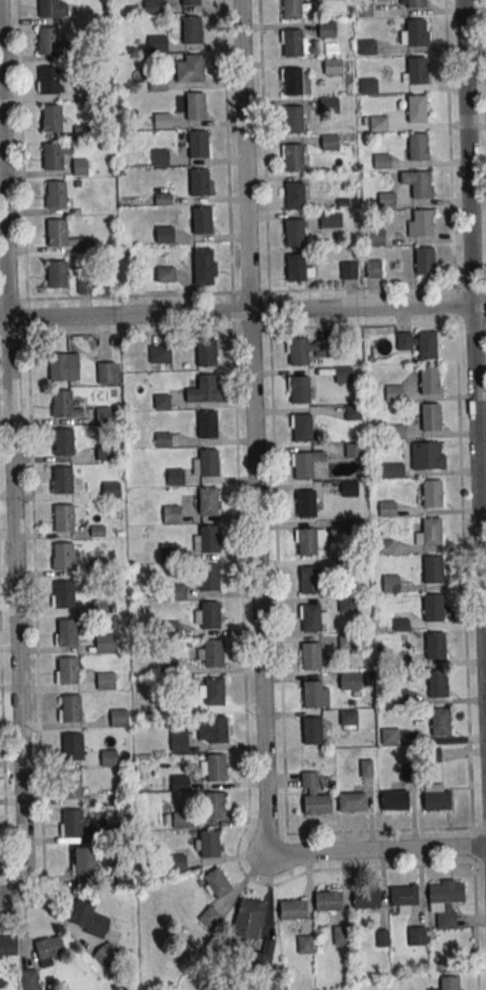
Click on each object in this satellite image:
building: (191, 3)
building: (416, 4)
building: (154, 6)
building: (364, 8)
building: (48, 9)
building: (291, 10)
building: (326, 30)
building: (191, 32)
building: (416, 35)
building: (47, 41)
building: (157, 42)
building: (292, 45)
building: (366, 48)
road: (483, 64)
building: (332, 67)
building: (194, 70)
building: (417, 72)
building: (49, 81)
building: (157, 83)
building: (292, 83)
building: (368, 87)
building: (328, 106)
building: (195, 107)
building: (417, 110)
building: (52, 120)
building: (162, 121)
building: (294, 122)
building: (378, 125)
building: (81, 132)
building: (329, 143)
road: (449, 143)
road: (264, 145)
building: (198, 146)
building: (418, 149)
road: (22, 150)
building: (53, 158)
building: (160, 158)
building: (293, 159)
building: (381, 162)
building: (80, 167)
building: (198, 184)
building: (421, 187)
building: (56, 196)
building: (294, 197)
building: (162, 198)
building: (386, 199)
building: (330, 219)
building: (202, 222)
building: (422, 225)
building: (57, 233)
building: (295, 234)
building: (164, 235)
building: (375, 237)
building: (84, 245)
building: (424, 263)
building: (203, 264)
building: (373, 268)
building: (296, 269)
building: (348, 270)
building: (167, 274)
building: (56, 276)
road: (242, 292)
road: (243, 311)
road: (243, 329)
road: (474, 335)
building: (427, 347)
building: (320, 348)
building: (160, 353)
building: (298, 353)
building: (206, 354)
building: (63, 366)
building: (106, 373)
building: (343, 376)
building: (430, 382)
building: (207, 389)
building: (299, 391)
building: (394, 394)
building: (61, 402)
building: (103, 413)
building: (352, 413)
building: (430, 416)
building: (207, 425)
building: (302, 426)
building: (395, 431)
building: (63, 441)
building: (353, 450)
building: (426, 455)
building: (207, 462)
road: (12, 463)
building: (303, 464)
building: (381, 469)
building: (61, 479)
building: (348, 488)
building: (110, 489)
building: (431, 492)
building: (207, 500)
building: (305, 503)
building: (386, 507)
building: (170, 514)
building: (61, 516)
building: (355, 526)
building: (430, 531)
road: (257, 536)
building: (208, 538)
building: (306, 541)
building: (385, 547)
building: (168, 552)
building: (61, 555)
road: (240, 556)
building: (98, 567)
building: (345, 567)
building: (432, 568)
road: (463, 575)
building: (208, 577)
building: (309, 579)
building: (390, 582)
building: (175, 592)
building: (62, 593)
building: (347, 604)
building: (432, 606)
building: (209, 615)
building: (310, 616)
road: (35, 620)
building: (168, 630)
building: (66, 632)
building: (347, 641)
building: (104, 643)
building: (438, 645)
building: (212, 652)
road: (280, 655)
building: (310, 655)
building: (401, 663)
building: (166, 666)
building: (67, 670)
building: (348, 679)
building: (104, 680)
building: (438, 683)
building: (213, 691)
building: (311, 693)
building: (400, 698)
building: (70, 708)
building: (347, 717)
building: (117, 718)
building: (441, 721)
building: (213, 729)
building: (312, 729)
building: (389, 736)
building: (178, 740)
building: (71, 746)
building: (107, 758)
building: (215, 767)
building: (366, 768)
road: (3, 771)
building: (179, 782)
building: (70, 784)
building: (392, 799)
building: (435, 800)
building: (350, 801)
building: (315, 803)
building: (213, 805)
building: (180, 819)
building: (71, 822)
building: (207, 843)
building: (83, 860)
building: (215, 884)
building: (402, 894)
building: (364, 897)
building: (326, 900)
building: (444, 900)
road: (474, 908)
building: (290, 909)
building: (87, 917)
building: (247, 923)
building: (340, 935)
building: (416, 935)
building: (7, 944)
building: (49, 949)
building: (106, 954)
building: (30, 979)
building: (447, 983)

